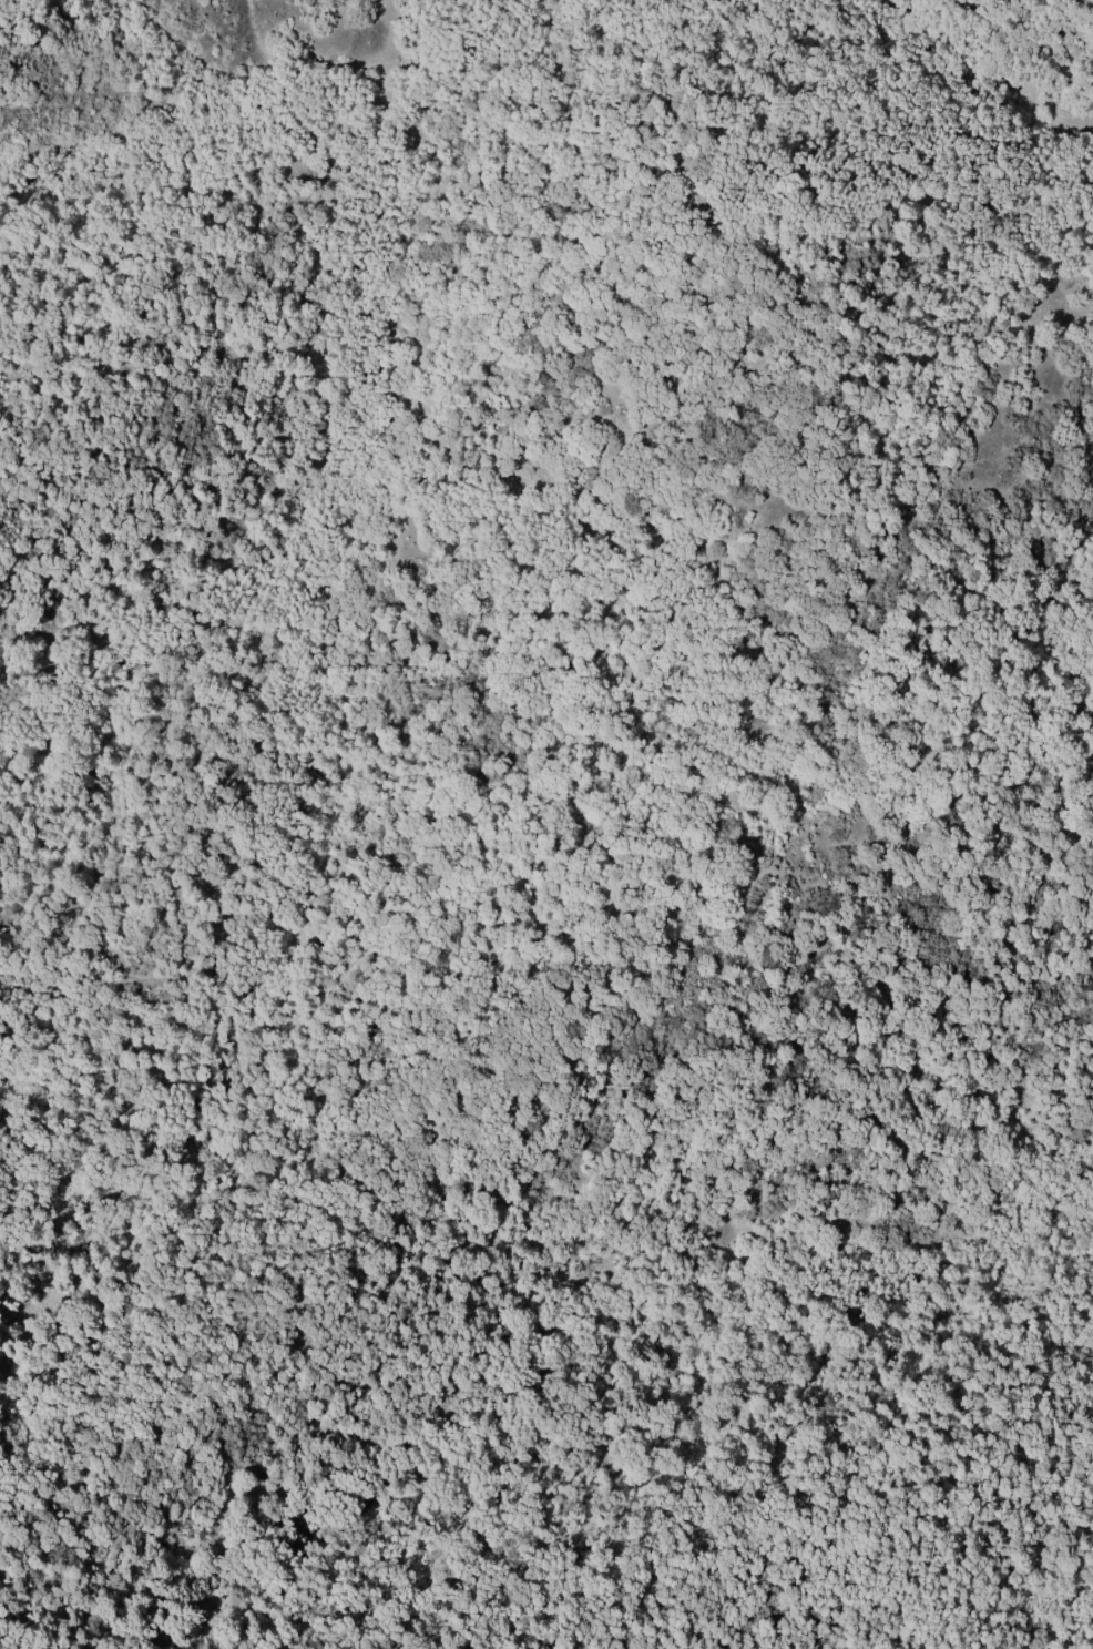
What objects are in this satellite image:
road: (987, 70)
road: (358, 477)
road: (754, 822)
road: (1085, 1633)

